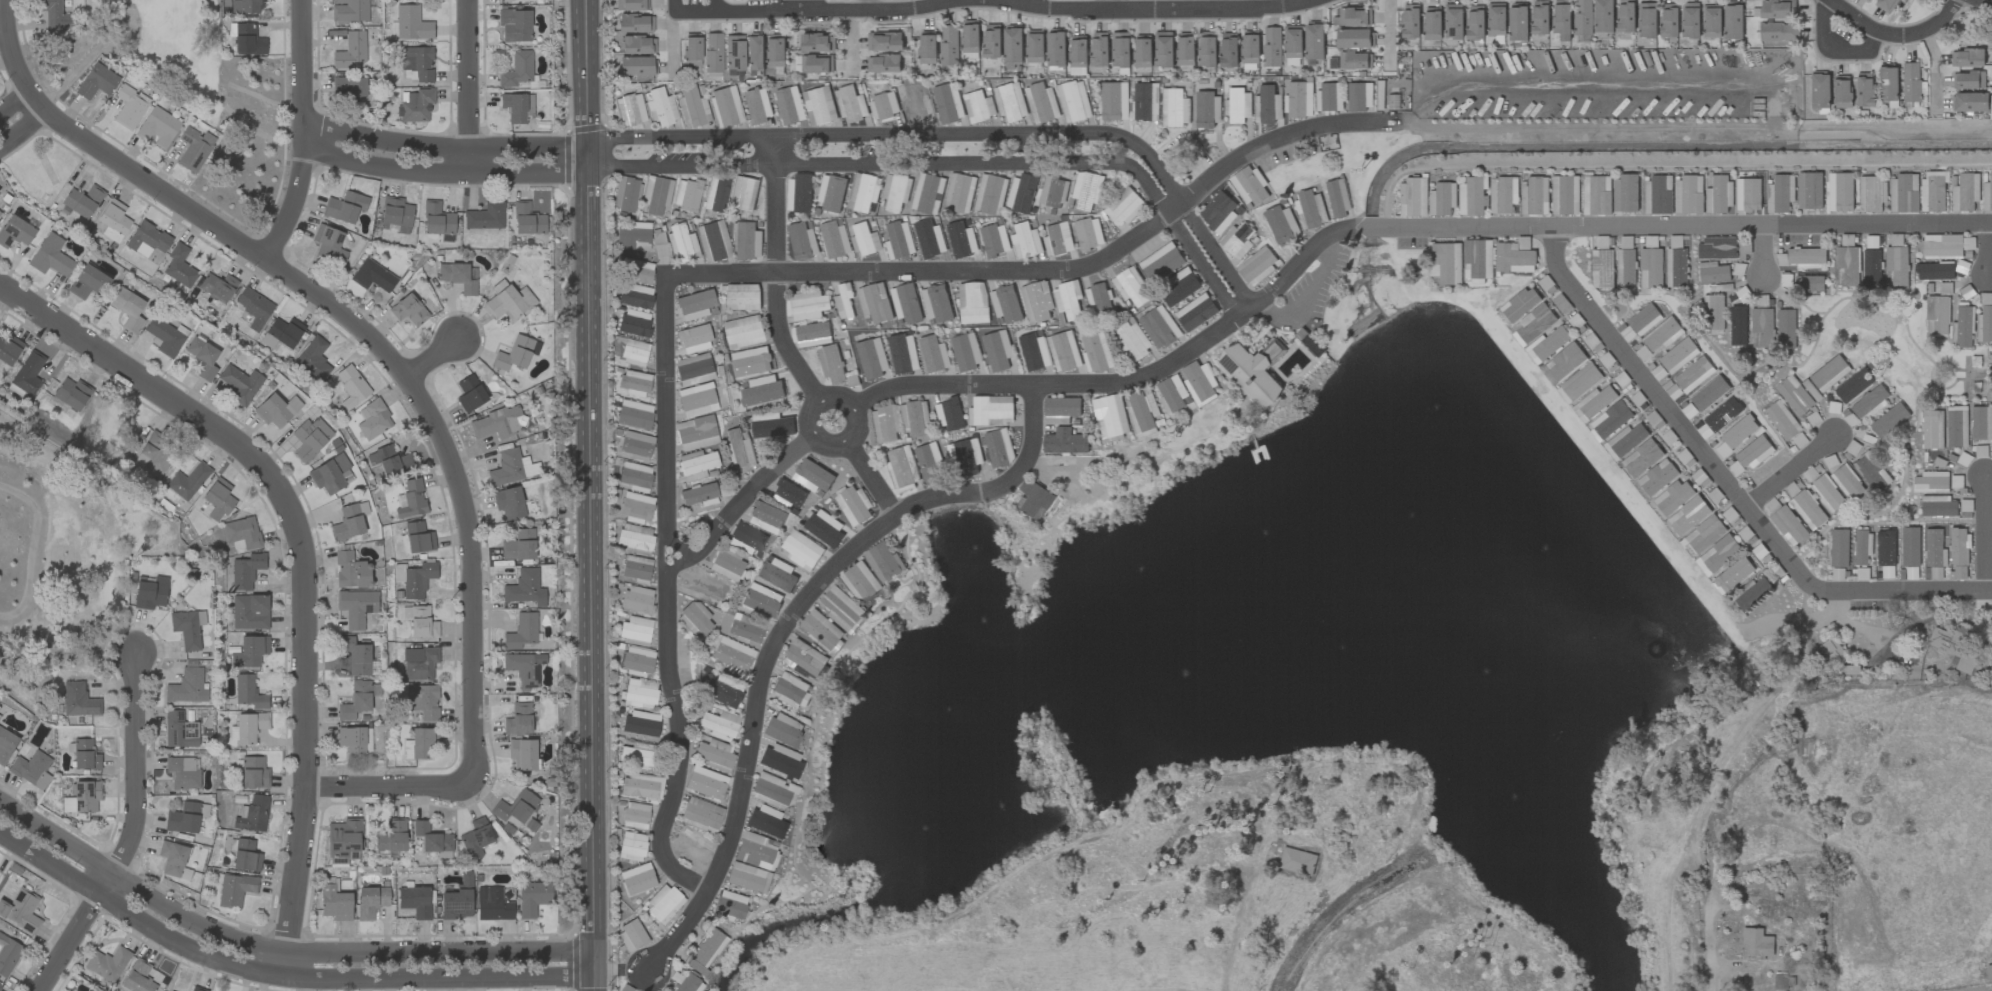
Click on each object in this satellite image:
building: (1869, 0)
road: (1986, 2)
building: (630, 5)
road: (1115, 5)
road: (1258, 5)
building: (1885, 5)
building: (243, 6)
road: (713, 6)
road: (868, 6)
road: (673, 7)
building: (1777, 9)
building: (348, 10)
road: (1157, 10)
road: (822, 13)
building: (52, 15)
building: (1604, 16)
building: (1626, 16)
building: (1354, 17)
building: (1582, 17)
building: (1539, 18)
building: (1496, 19)
building: (1561, 19)
building: (1647, 20)
building: (1669, 20)
building: (1690, 20)
building: (1410, 21)
building: (1453, 21)
building: (1712, 21)
building: (634, 22)
building: (1733, 22)
building: (411, 23)
building: (1432, 23)
building: (1475, 23)
building: (1517, 23)
building: (514, 24)
road: (1389, 31)
building: (1777, 32)
building: (1354, 38)
road: (1899, 38)
building: (247, 39)
building: (970, 40)
building: (992, 41)
building: (1314, 41)
building: (885, 42)
building: (1292, 42)
building: (817, 43)
building: (637, 44)
building: (949, 45)
building: (1013, 45)
building: (1035, 46)
building: (1250, 47)
building: (1271, 47)
building: (927, 48)
building: (1056, 48)
building: (1100, 49)
building: (1163, 49)
building: (1185, 49)
building: (1207, 49)
building: (350, 50)
building: (776, 50)
building: (1120, 50)
building: (1228, 50)
road: (1833, 50)
building: (690, 51)
building: (712, 52)
building: (755, 52)
building: (1142, 53)
building: (733, 54)
building: (1078, 54)
building: (1967, 58)
building: (1355, 61)
building: (417, 62)
building: (816, 64)
building: (883, 64)
building: (636, 65)
building: (516, 69)
road: (1935, 71)
building: (1968, 80)
road: (465, 81)
building: (96, 82)
building: (1911, 82)
building: (1888, 83)
park: (186, 88)
building: (350, 88)
building: (1865, 90)
building: (1820, 91)
building: (1842, 92)
building: (1327, 97)
building: (1360, 97)
building: (1298, 100)
road: (13, 101)
building: (1074, 101)
building: (1010, 102)
building: (1146, 102)
building: (1394, 102)
building: (1971, 102)
building: (948, 103)
building: (1041, 103)
building: (914, 104)
building: (415, 105)
building: (757, 105)
building: (789, 105)
building: (851, 105)
building: (1267, 105)
building: (692, 106)
building: (725, 106)
building: (819, 106)
building: (883, 106)
building: (979, 106)
building: (1115, 106)
building: (1238, 106)
building: (128, 107)
building: (513, 107)
building: (660, 107)
building: (1174, 108)
building: (629, 109)
building: (1207, 110)
building: (157, 127)
road: (21, 130)
road: (299, 133)
road: (962, 138)
building: (193, 148)
road: (444, 159)
road: (953, 163)
road: (1216, 174)
building: (1250, 187)
building: (1086, 190)
building: (1933, 191)
building: (863, 192)
building: (1051, 192)
building: (624, 193)
building: (715, 193)
building: (743, 193)
building: (959, 193)
building: (1021, 193)
building: (1965, 193)
building: (655, 194)
building: (686, 194)
building: (799, 194)
building: (927, 194)
building: (1503, 194)
building: (1780, 194)
building: (1869, 194)
building: (1903, 194)
building: (990, 195)
building: (1564, 195)
building: (1596, 195)
building: (1657, 195)
building: (1688, 195)
building: (1718, 195)
building: (1987, 195)
building: (831, 196)
building: (1413, 196)
building: (1473, 196)
building: (1534, 196)
building: (1627, 196)
building: (1337, 198)
building: (1442, 199)
building: (82, 200)
building: (344, 207)
building: (1124, 207)
building: (1310, 209)
building: (0, 213)
building: (1220, 213)
building: (395, 215)
building: (484, 216)
building: (436, 219)
building: (526, 219)
building: (113, 220)
building: (1282, 225)
road: (1392, 227)
building: (15, 231)
building: (1088, 234)
building: (633, 238)
building: (900, 239)
building: (929, 239)
building: (147, 240)
building: (746, 240)
building: (834, 240)
building: (864, 240)
building: (961, 240)
building: (994, 240)
building: (1057, 240)
building: (1237, 240)
building: (712, 241)
building: (1025, 241)
building: (681, 242)
building: (802, 242)
building: (1604, 242)
building: (1947, 245)
building: (1717, 248)
road: (1985, 250)
road: (1761, 251)
building: (50, 256)
building: (1515, 256)
building: (1803, 258)
building: (1477, 259)
building: (1161, 263)
building: (1446, 263)
building: (179, 266)
building: (1257, 266)
building: (1847, 266)
building: (1625, 267)
building: (1896, 267)
building: (1650, 268)
building: (1676, 268)
building: (633, 269)
building: (1602, 269)
building: (1871, 270)
building: (1934, 271)
building: (1712, 273)
building: (372, 275)
building: (458, 276)
road: (774, 276)
building: (87, 282)
road: (591, 282)
building: (1809, 283)
building: (1181, 286)
building: (217, 287)
building: (1131, 287)
building: (634, 296)
building: (743, 297)
road: (1307, 297)
building: (1097, 299)
building: (1986, 299)
building: (508, 300)
building: (1068, 300)
building: (844, 301)
building: (1036, 302)
building: (875, 303)
building: (906, 303)
building: (973, 303)
building: (694, 304)
building: (936, 304)
building: (1005, 304)
building: (808, 305)
building: (1519, 305)
building: (127, 308)
building: (254, 308)
building: (408, 310)
building: (1196, 312)
building: (1713, 314)
building: (1936, 315)
building: (1644, 319)
building: (634, 323)
building: (1532, 325)
building: (1738, 325)
building: (1984, 325)
building: (1762, 326)
building: (1159, 328)
building: (1962, 328)
building: (1786, 329)
building: (281, 332)
building: (744, 332)
building: (810, 332)
building: (1662, 335)
building: (165, 336)
building: (693, 338)
building: (1132, 340)
building: (814, 342)
building: (1547, 345)
building: (9, 349)
building: (997, 350)
building: (1063, 351)
building: (633, 352)
building: (966, 352)
building: (1034, 352)
building: (515, 353)
building: (1096, 353)
building: (903, 354)
building: (934, 354)
building: (1678, 355)
road: (432, 356)
building: (202, 357)
building: (872, 358)
building: (312, 359)
building: (1565, 361)
building: (755, 363)
building: (831, 363)
building: (693, 369)
road: (1638, 370)
building: (1254, 372)
building: (27, 373)
building: (1829, 373)
building: (1694, 375)
road: (407, 377)
building: (635, 382)
building: (1199, 382)
building: (239, 383)
building: (1579, 383)
building: (350, 386)
building: (1853, 386)
building: (762, 391)
building: (71, 393)
building: (469, 393)
building: (1709, 393)
building: (1171, 394)
building: (1794, 395)
building: (696, 399)
building: (1870, 402)
building: (1594, 403)
building: (1062, 407)
building: (275, 409)
building: (991, 411)
building: (1142, 412)
building: (1725, 413)
building: (633, 414)
building: (949, 415)
building: (1110, 418)
building: (372, 419)
building: (915, 419)
building: (1611, 419)
building: (1782, 420)
building: (1889, 421)
building: (495, 422)
building: (1981, 423)
building: (885, 424)
building: (1956, 426)
building: (773, 427)
building: (1932, 429)
building: (695, 432)
building: (1739, 432)
building: (309, 438)
building: (1625, 441)
building: (1064, 442)
building: (634, 444)
road: (838, 444)
building: (740, 448)
building: (999, 448)
building: (976, 451)
building: (1755, 451)
building: (152, 453)
building: (964, 458)
building: (1642, 458)
building: (389, 460)
building: (696, 464)
building: (930, 464)
building: (511, 467)
building: (902, 469)
road: (1789, 469)
building: (1871, 473)
building: (330, 474)
building: (635, 476)
building: (812, 476)
building: (1657, 477)
road: (869, 479)
building: (187, 481)
building: (1847, 482)
building: (1931, 482)
building: (1828, 493)
building: (789, 494)
building: (698, 495)
building: (1672, 497)
building: (218, 498)
building: (410, 499)
road: (738, 500)
building: (1033, 500)
building: (508, 502)
building: (853, 505)
building: (635, 507)
building: (1939, 507)
building: (1808, 510)
building: (764, 515)
building: (1688, 516)
building: (347, 522)
building: (1786, 523)
building: (824, 528)
building: (240, 533)
road: (1982, 533)
building: (1705, 535)
building: (417, 537)
building: (635, 538)
park: (67, 539)
building: (746, 539)
building: (518, 545)
building: (1910, 546)
building: (1862, 547)
building: (1958, 547)
track: (14, 548)
building: (1839, 548)
building: (1885, 548)
building: (1933, 548)
building: (801, 550)
building: (1720, 553)
road: (303, 559)
building: (883, 562)
building: (725, 566)
building: (635, 568)
building: (245, 570)
building: (349, 570)
building: (1958, 573)
building: (1837, 574)
building: (1862, 574)
building: (777, 575)
building: (414, 578)
building: (861, 581)
building: (524, 587)
building: (705, 588)
building: (149, 592)
road: (1848, 593)
road: (667, 595)
building: (637, 599)
building: (761, 602)
building: (355, 606)
building: (842, 609)
building: (249, 611)
building: (693, 619)
building: (419, 621)
road: (593, 623)
road: (782, 626)
building: (187, 628)
building: (634, 630)
building: (744, 630)
building: (822, 631)
building: (522, 633)
building: (1954, 648)
building: (249, 651)
building: (1831, 652)
building: (355, 654)
building: (732, 654)
building: (804, 659)
building: (636, 660)
building: (419, 662)
building: (523, 667)
building: (186, 686)
building: (788, 689)
building: (247, 691)
building: (722, 691)
building: (639, 693)
building: (78, 700)
building: (355, 700)
building: (422, 700)
building: (518, 719)
building: (640, 722)
building: (719, 724)
building: (247, 727)
building: (783, 729)
building: (178, 730)
building: (354, 739)
building: (420, 743)
building: (5, 744)
building: (521, 753)
building: (83, 754)
building: (715, 754)
building: (636, 757)
building: (779, 763)
building: (31, 768)
building: (182, 772)
building: (253, 772)
building: (708, 784)
building: (641, 785)
building: (772, 790)
building: (515, 807)
building: (252, 814)
building: (634, 815)
building: (700, 815)
building: (183, 818)
building: (765, 821)
road: (594, 829)
road: (129, 833)
building: (391, 835)
building: (475, 837)
building: (432, 839)
building: (343, 840)
building: (631, 846)
building: (691, 847)
building: (756, 850)
building: (245, 855)
building: (171, 858)
building: (1297, 861)
building: (744, 876)
building: (636, 878)
building: (234, 889)
building: (532, 897)
building: (458, 899)
building: (370, 900)
building: (414, 900)
building: (334, 902)
building: (663, 902)
building: (729, 903)
building: (492, 904)
building: (20, 910)
road: (1240, 924)
building: (630, 935)
building: (1757, 943)
road: (278, 950)
building: (705, 950)
road: (1709, 952)
building: (7, 954)
building: (107, 963)
road: (620, 971)
building: (1989, 972)
building: (137, 977)
road: (278, 977)
building: (1780, 981)
building: (684, 982)
road: (595, 984)
building: (0, 986)
building: (196, 989)

